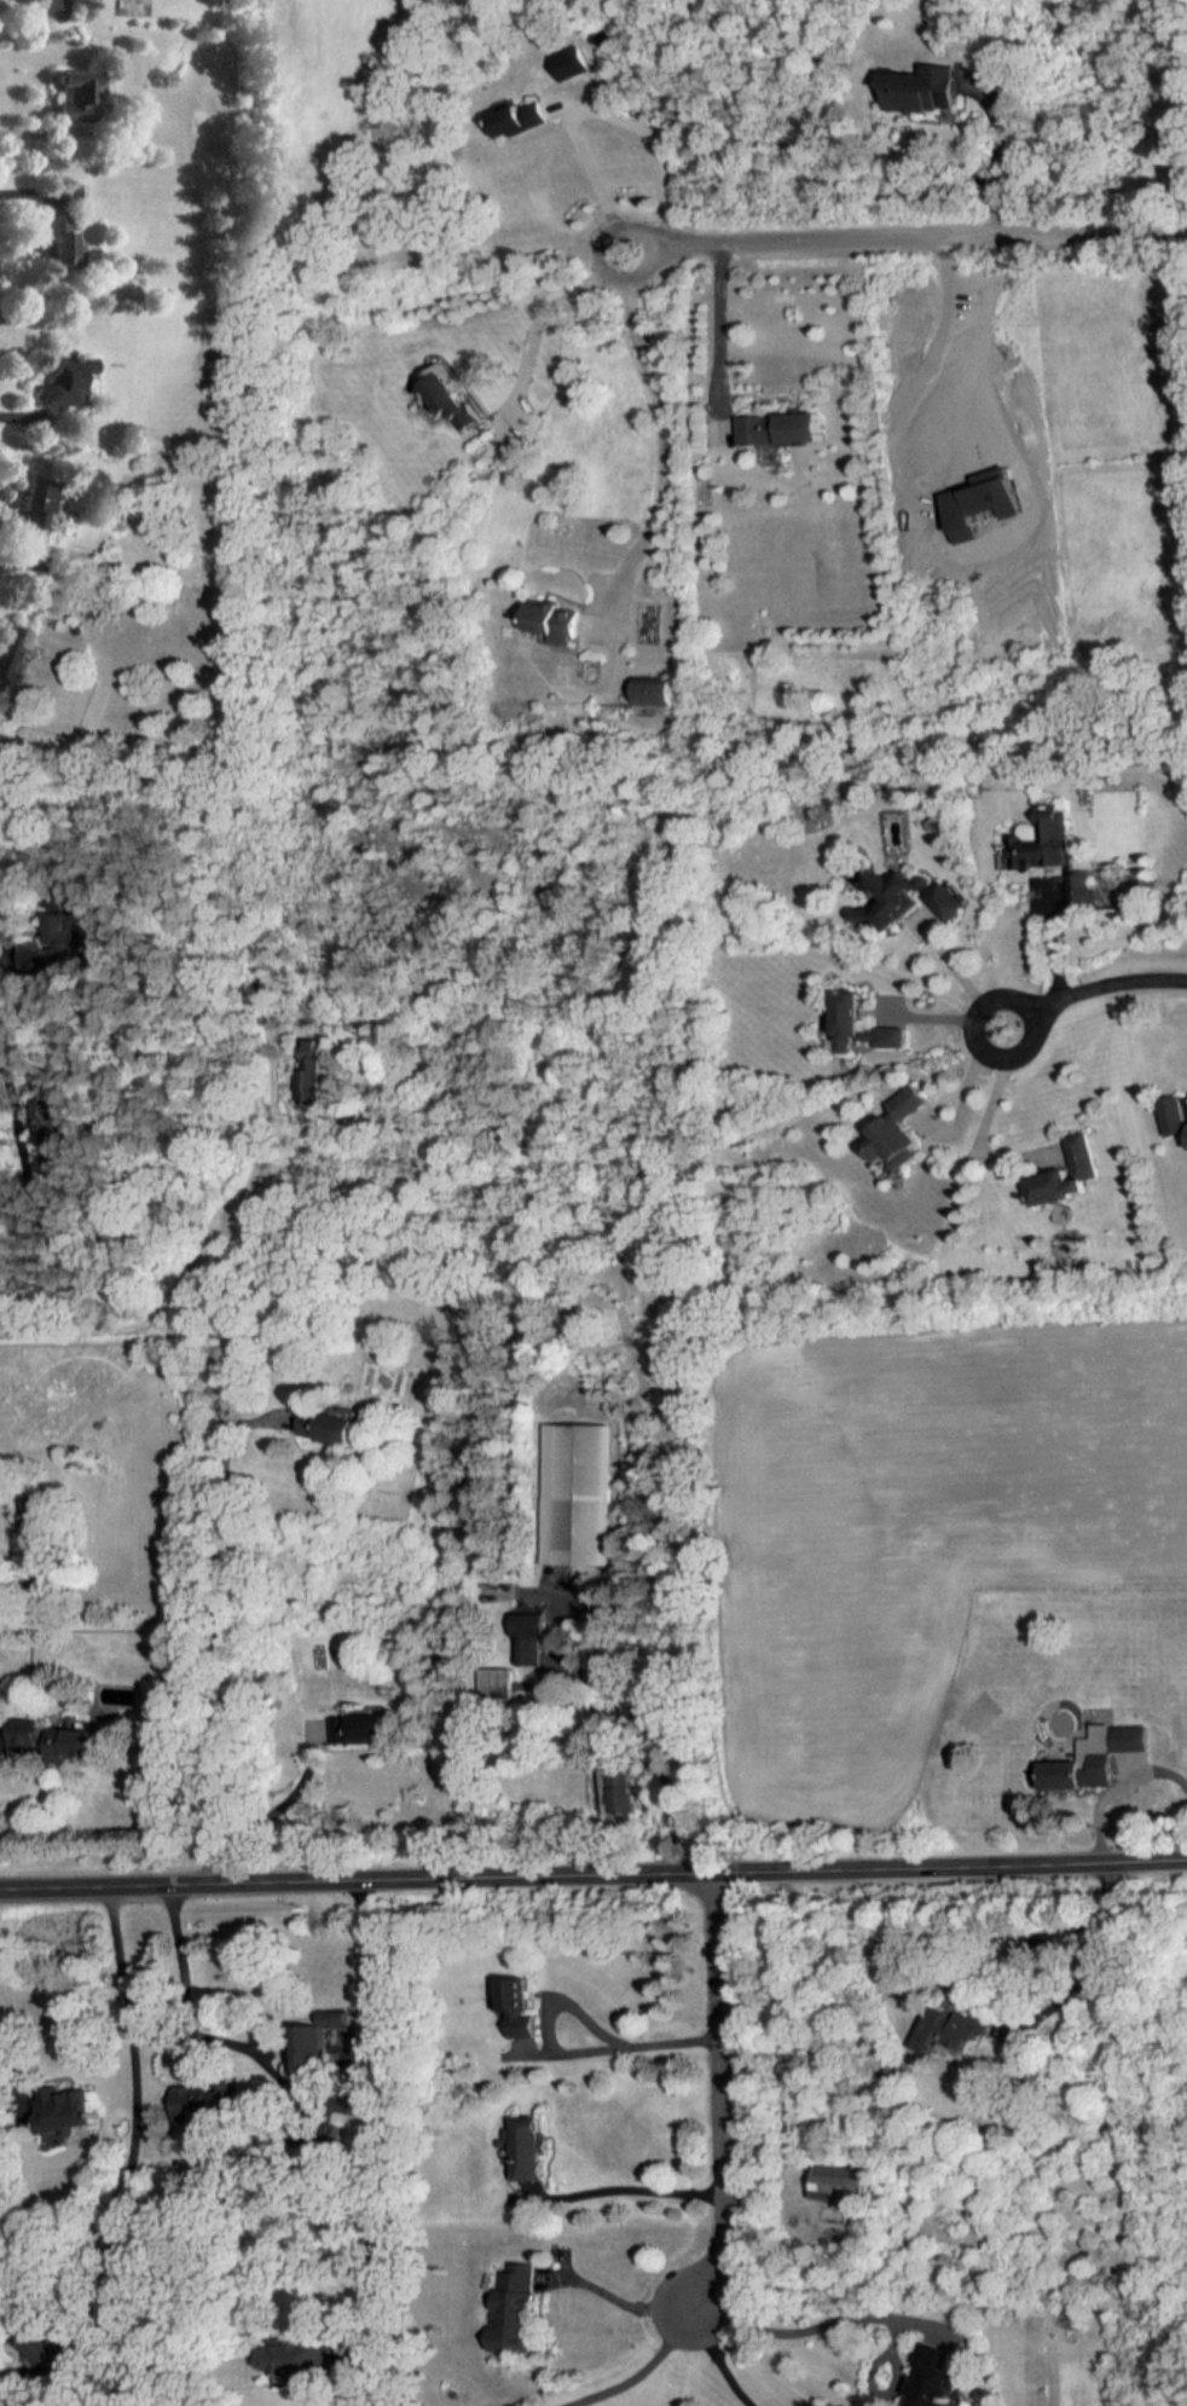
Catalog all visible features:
building: (56, 8)
building: (571, 62)
building: (920, 88)
building: (76, 96)
road: (595, 114)
building: (527, 115)
road: (40, 133)
road: (997, 154)
road: (36, 195)
road: (907, 239)
building: (62, 242)
road: (539, 311)
road: (718, 326)
road: (923, 371)
building: (64, 378)
road: (29, 417)
building: (783, 429)
road: (665, 432)
building: (37, 504)
road: (19, 562)
building: (558, 620)
building: (16, 653)
building: (658, 689)
building: (1044, 841)
building: (1082, 892)
building: (905, 898)
building: (64, 927)
road: (8, 932)
road: (1054, 936)
road: (955, 977)
road: (1096, 987)
building: (862, 1024)
building: (315, 1071)
road: (986, 1114)
building: (1174, 1115)
road: (24, 1116)
building: (57, 1127)
building: (893, 1129)
building: (1062, 1173)
road: (213, 1248)
building: (331, 1427)
building: (579, 1494)
building: (41, 1523)
crop: (914, 1535)
road: (21, 1584)
road: (215, 1635)
building: (532, 1635)
building: (504, 1683)
building: (561, 1702)
building: (363, 1730)
road: (1, 1740)
building: (57, 1740)
road: (652, 1743)
building: (1099, 1760)
road: (1114, 1783)
building: (621, 1792)
road: (592, 1869)
road: (1092, 1965)
road: (189, 1993)
building: (515, 1994)
building: (526, 2028)
building: (943, 2034)
building: (308, 2041)
road: (618, 2048)
road: (185, 2051)
road: (15, 2067)
road: (723, 2088)
building: (199, 2109)
building: (66, 2111)
road: (137, 2113)
road: (393, 2117)
building: (527, 2146)
building: (838, 2182)
road: (625, 2190)
building: (513, 2309)
road: (865, 2313)
building: (290, 2352)
road: (718, 2358)
road: (647, 2366)
building: (927, 2373)

